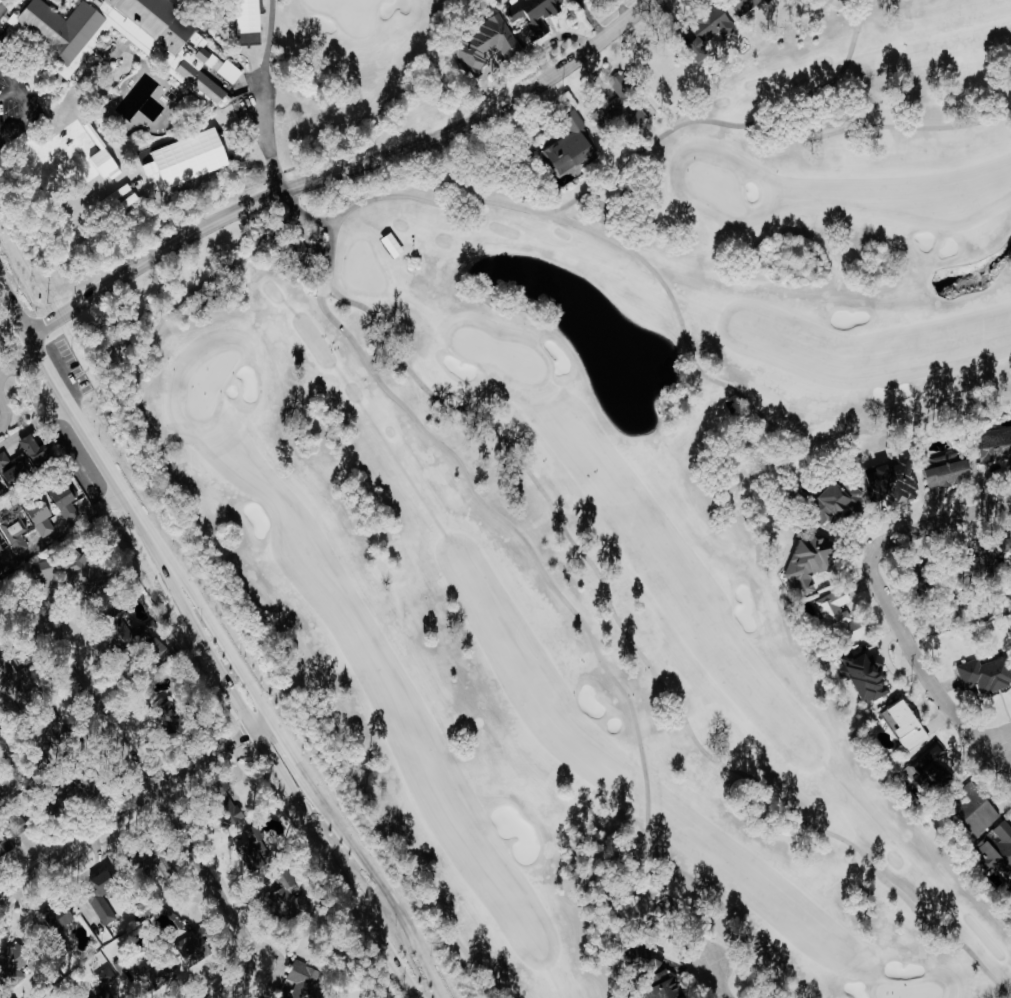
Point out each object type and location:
building: (744, 6)
park: (350, 13)
building: (532, 13)
building: (709, 33)
building: (128, 38)
building: (482, 44)
road: (1, 62)
road: (17, 83)
road: (262, 90)
road: (9, 91)
building: (245, 104)
building: (618, 105)
road: (17, 123)
building: (571, 148)
road: (347, 169)
road: (15, 295)
road: (14, 349)
road: (6, 408)
road: (35, 424)
park: (541, 439)
building: (990, 446)
building: (36, 452)
building: (13, 471)
building: (939, 473)
road: (48, 477)
building: (885, 482)
building: (1, 494)
building: (828, 500)
building: (66, 502)
building: (41, 518)
road: (60, 528)
building: (15, 537)
building: (1, 548)
building: (1001, 552)
building: (973, 562)
building: (801, 563)
building: (44, 569)
building: (87, 574)
road: (895, 604)
building: (826, 608)
building: (138, 617)
building: (847, 632)
building: (159, 651)
road: (230, 666)
building: (860, 676)
building: (978, 676)
building: (19, 683)
building: (171, 713)
building: (898, 727)
building: (59, 739)
road: (997, 759)
building: (921, 766)
road: (145, 778)
building: (82, 792)
road: (129, 807)
building: (964, 813)
building: (231, 818)
building: (6, 847)
building: (255, 850)
building: (992, 850)
building: (288, 897)
building: (646, 907)
building: (60, 919)
building: (195, 945)
building: (18, 965)
building: (121, 965)
road: (243, 974)
road: (714, 975)
building: (159, 976)
building: (103, 983)
building: (301, 983)
building: (667, 991)

